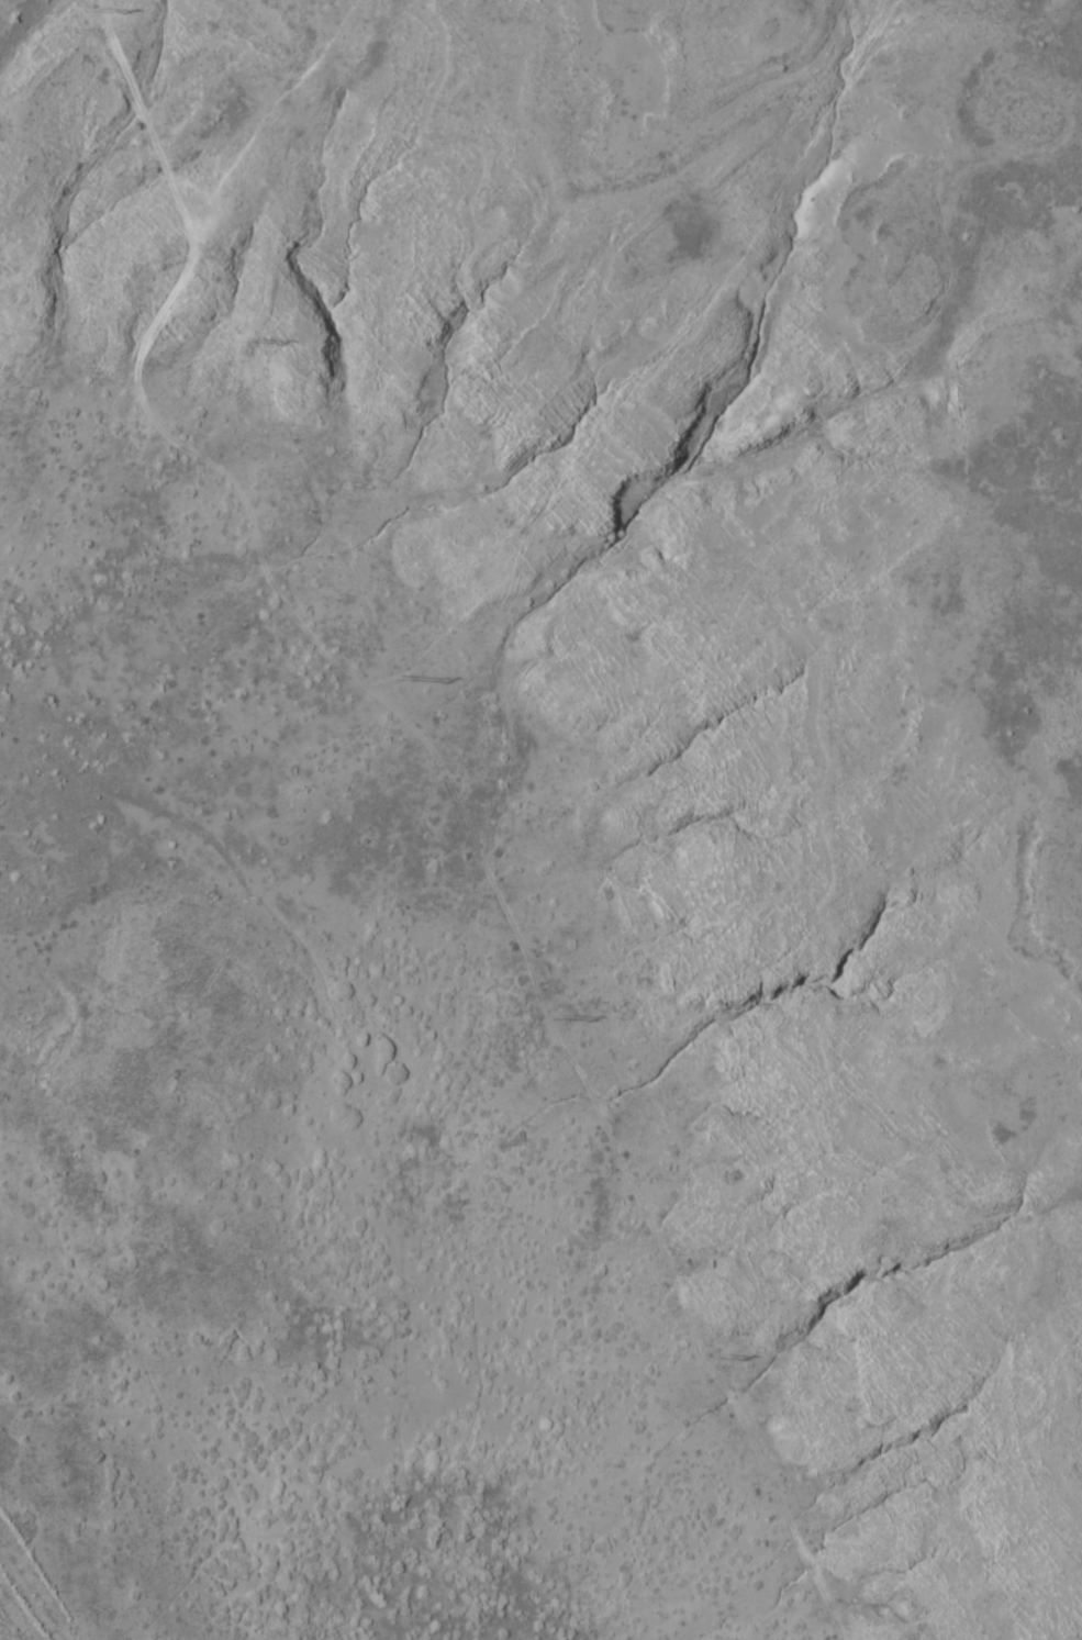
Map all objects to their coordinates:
power tower: (93, 5)
power tower: (247, 336)
power tower: (397, 674)
power tower: (555, 1014)
power tower: (713, 1351)

